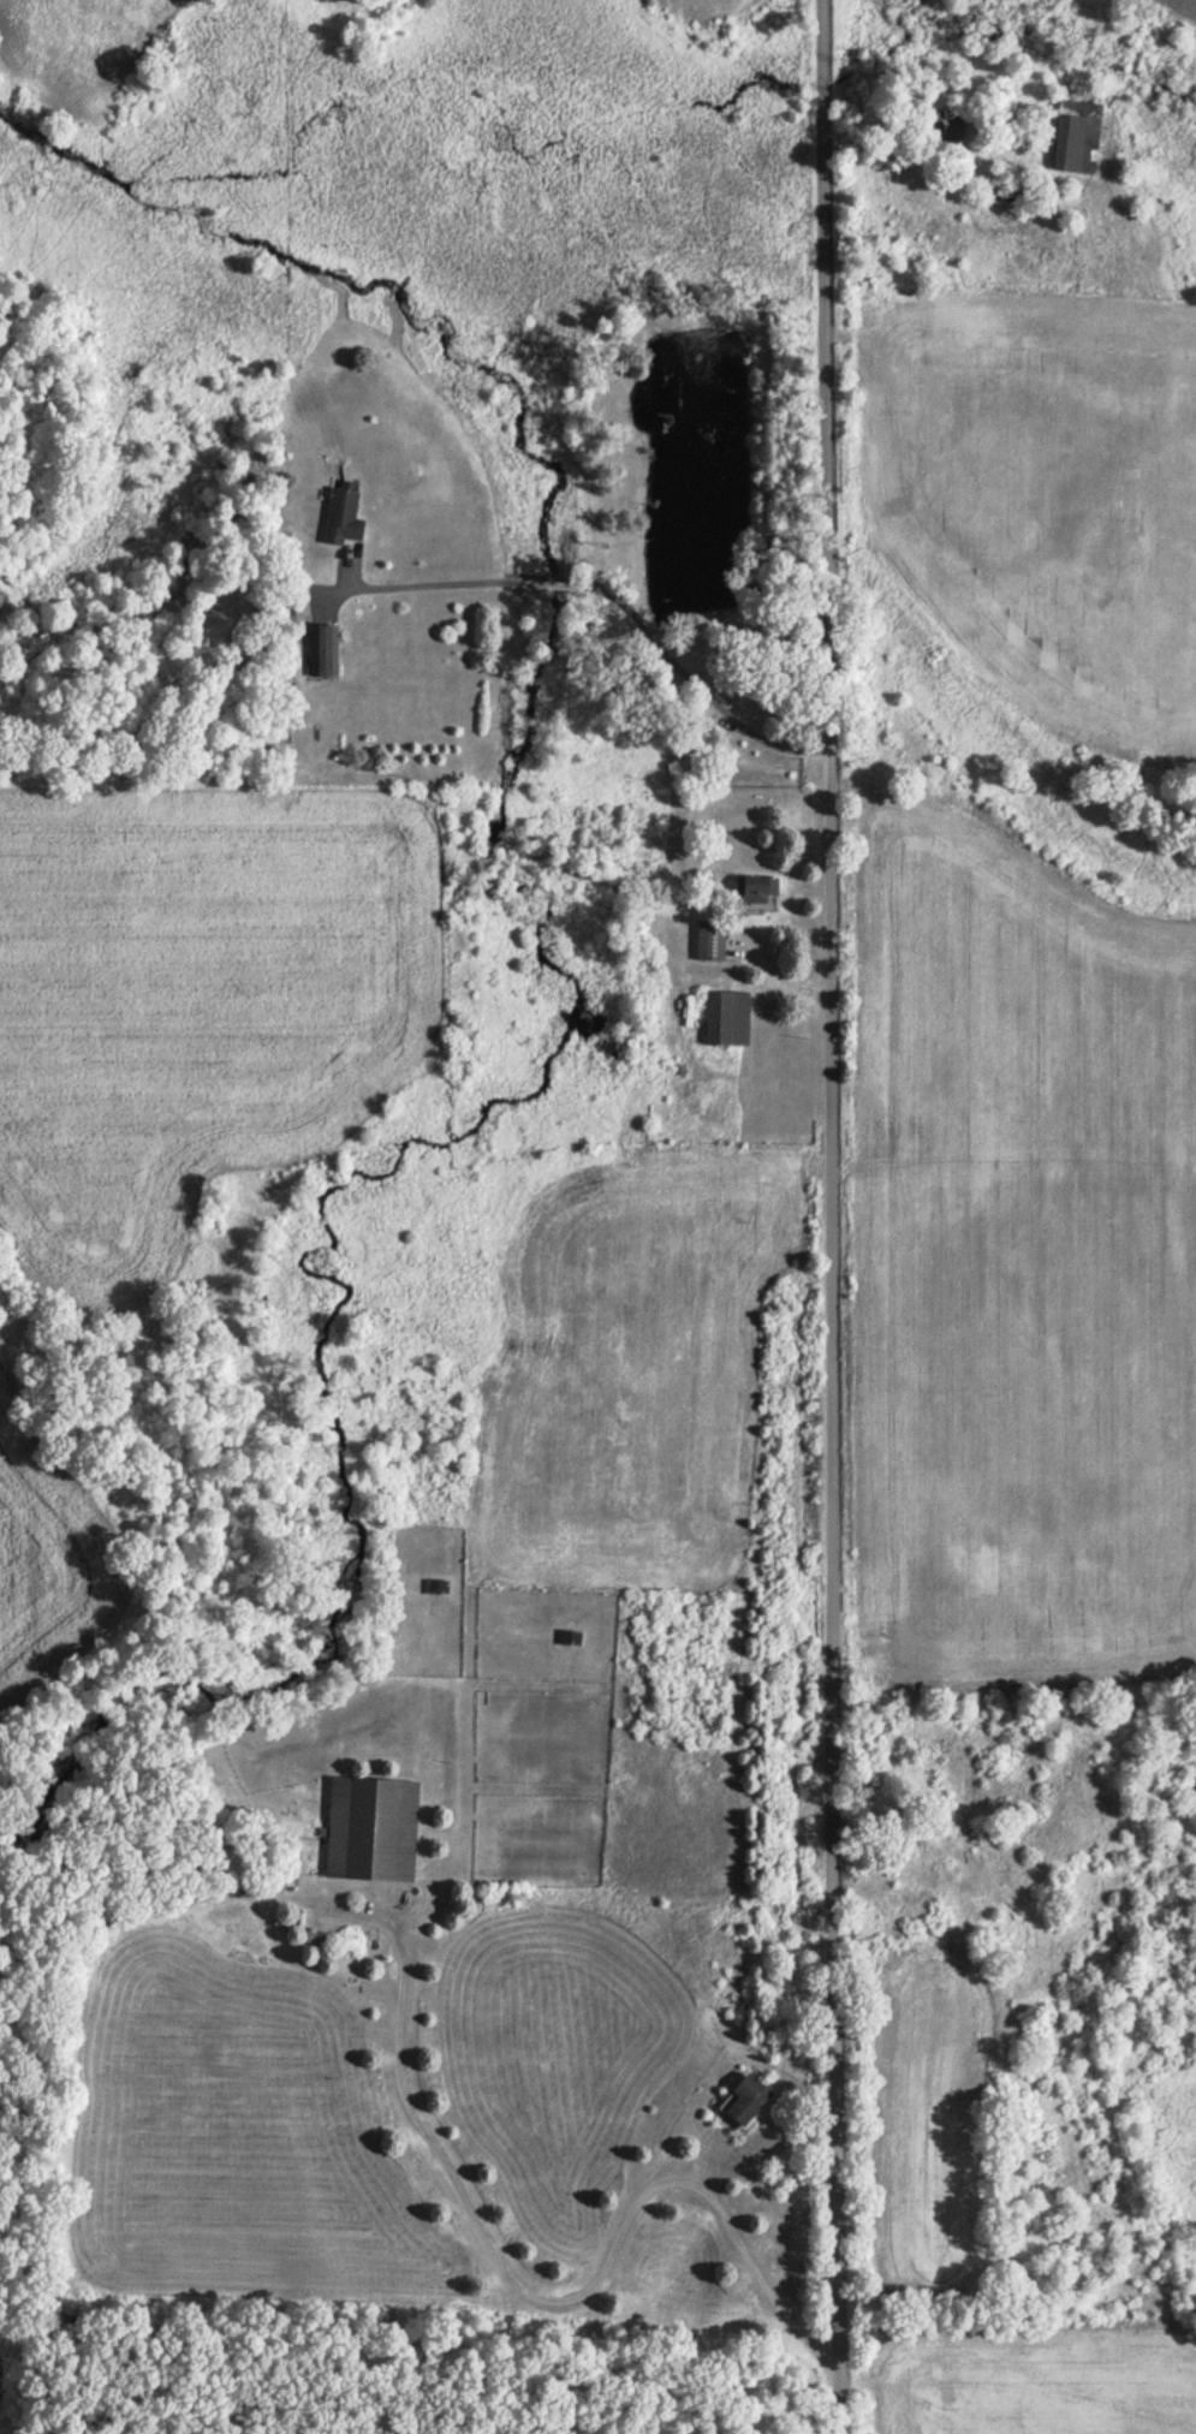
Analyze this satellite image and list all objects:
building: (1077, 135)
building: (343, 513)
building: (325, 649)
building: (761, 886)
building: (710, 939)
building: (728, 1016)
road: (829, 1216)
building: (373, 1827)
building: (746, 2097)

